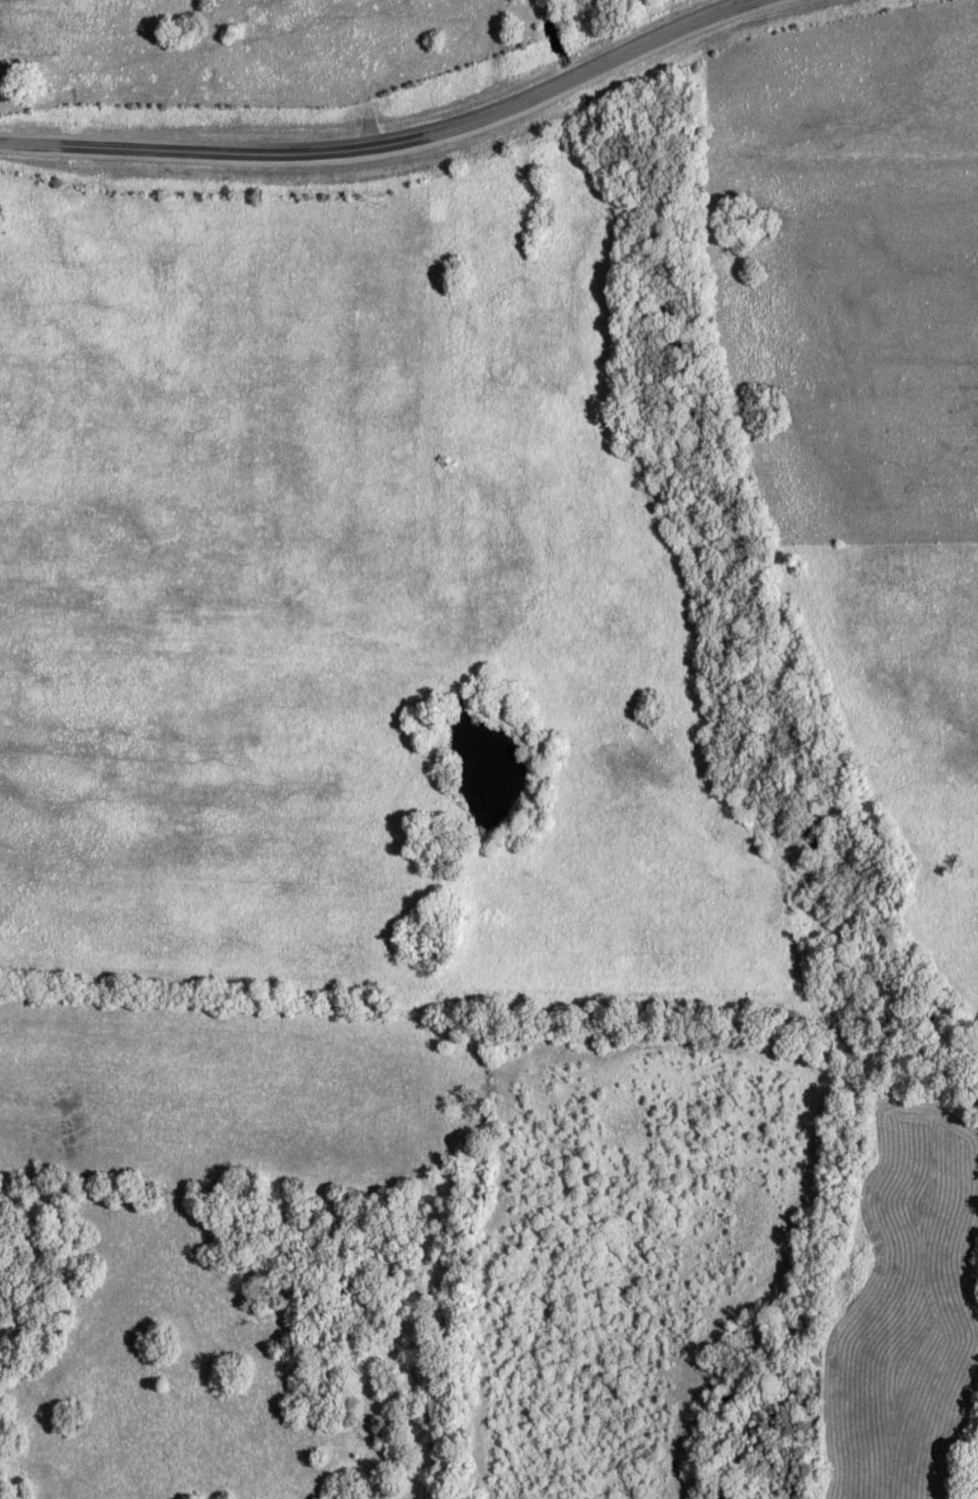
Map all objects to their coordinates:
road: (389, 142)

